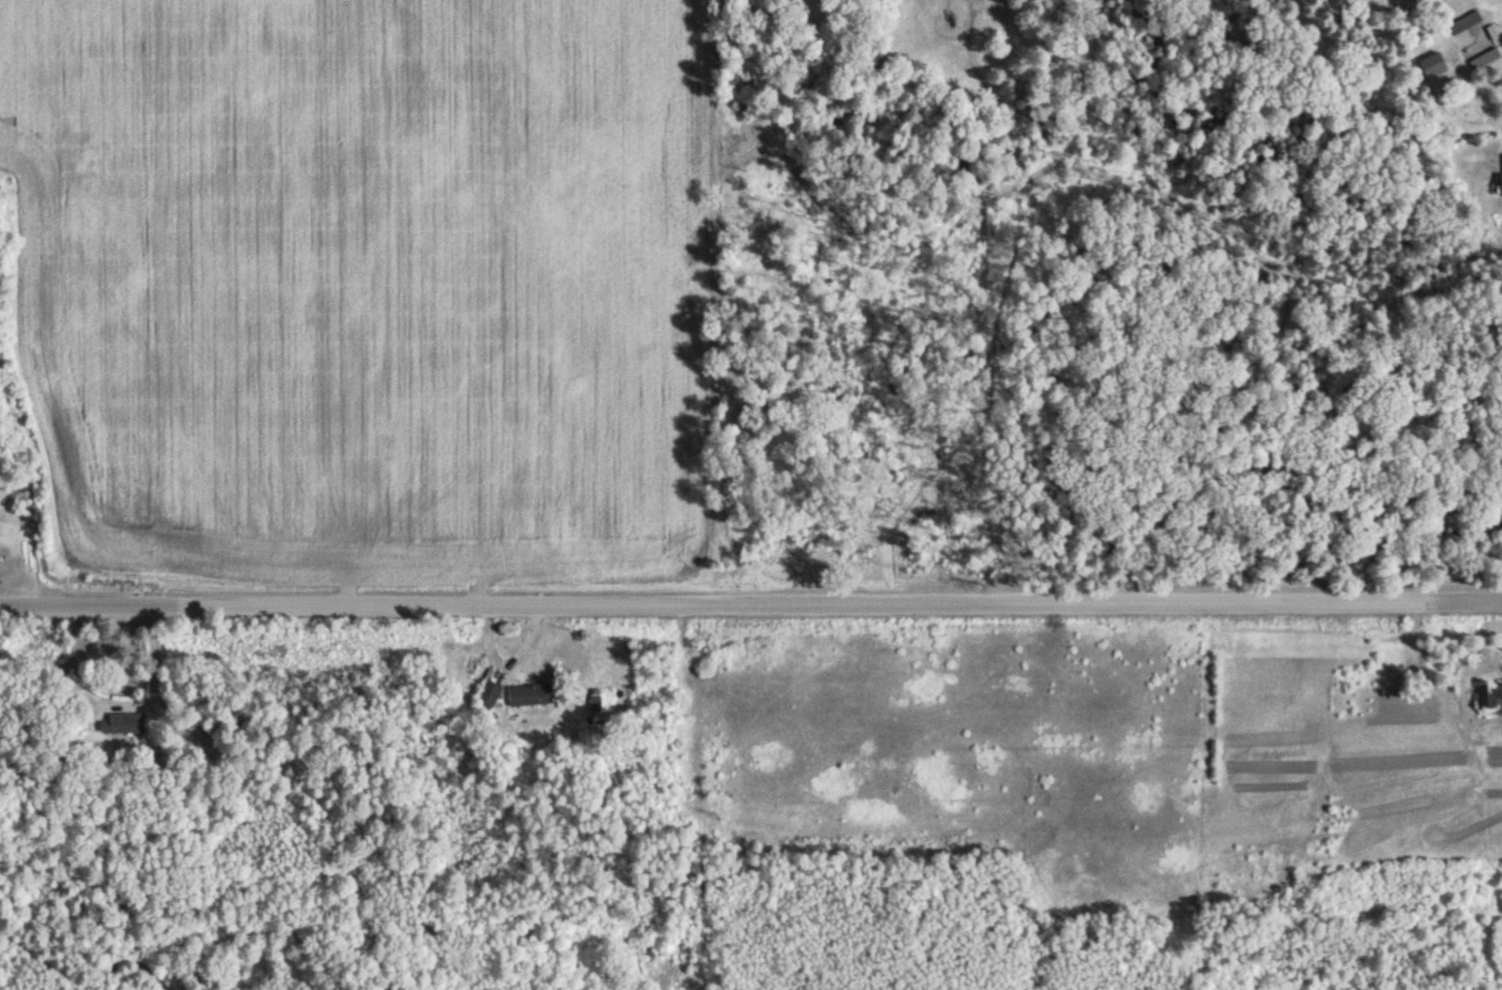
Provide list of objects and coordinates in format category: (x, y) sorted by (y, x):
building: (1467, 22)
building: (1475, 41)
building: (1434, 65)
road: (751, 601)
road: (153, 681)
building: (491, 694)
building: (532, 695)
building: (1491, 696)
building: (126, 723)

